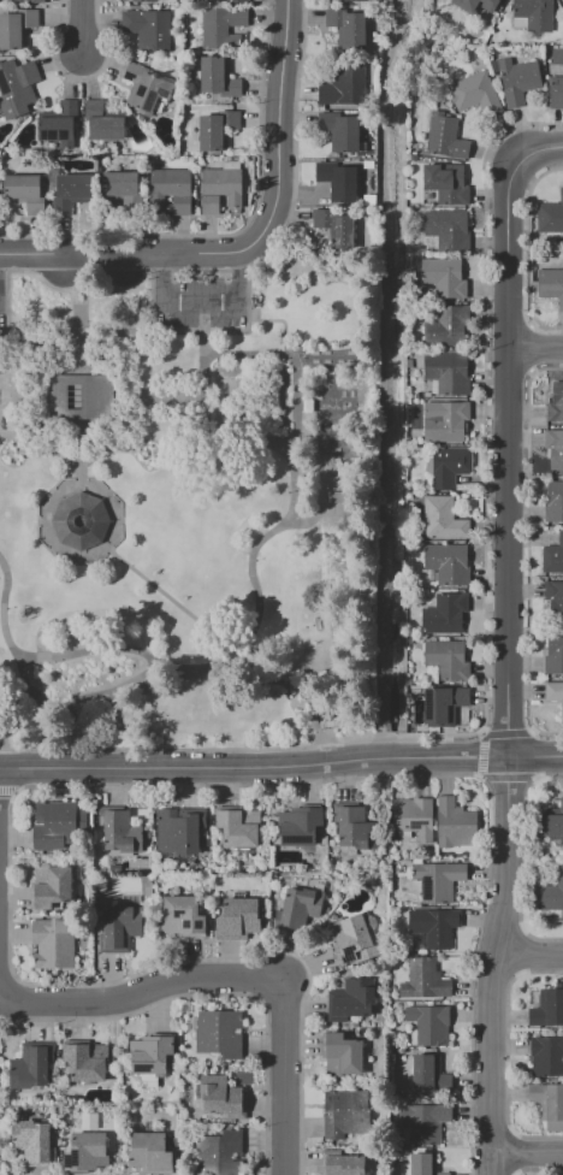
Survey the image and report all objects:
building: (4, 0)
building: (214, 0)
building: (356, 0)
building: (23, 1)
building: (144, 1)
building: (562, 5)
building: (476, 7)
building: (532, 16)
building: (346, 26)
building: (16, 28)
building: (147, 28)
building: (221, 28)
road: (82, 29)
building: (218, 77)
building: (520, 81)
building: (344, 85)
building: (18, 87)
building: (147, 88)
building: (556, 91)
building: (475, 93)
road: (281, 104)
building: (102, 123)
building: (60, 125)
building: (215, 129)
building: (340, 131)
building: (444, 137)
road: (543, 157)
building: (338, 181)
building: (446, 183)
building: (120, 184)
building: (220, 187)
building: (171, 189)
building: (24, 191)
building: (71, 191)
building: (550, 215)
building: (334, 226)
building: (448, 229)
road: (211, 254)
road: (34, 256)
building: (444, 277)
road: (102, 278)
building: (551, 284)
parking lot: (1, 302)
parking lot: (200, 302)
road: (200, 303)
building: (446, 326)
road: (83, 329)
road: (538, 353)
road: (212, 358)
road: (207, 368)
building: (448, 373)
building: (79, 396)
road: (58, 398)
road: (291, 398)
road: (171, 400)
building: (556, 403)
road: (136, 412)
building: (446, 423)
road: (64, 433)
road: (273, 444)
building: (555, 448)
road: (510, 457)
building: (450, 466)
road: (52, 494)
building: (555, 501)
park: (185, 510)
building: (443, 519)
building: (79, 520)
building: (553, 556)
building: (449, 562)
building: (555, 598)
building: (445, 613)
road: (231, 645)
road: (120, 649)
building: (555, 653)
building: (448, 659)
building: (555, 693)
building: (443, 704)
road: (13, 710)
road: (281, 767)
building: (414, 816)
building: (552, 821)
building: (454, 823)
building: (54, 826)
building: (300, 826)
building: (358, 826)
building: (238, 827)
building: (177, 831)
building: (122, 832)
building: (438, 880)
building: (51, 888)
building: (551, 893)
building: (301, 911)
building: (182, 916)
building: (237, 919)
building: (433, 928)
building: (118, 929)
building: (351, 935)
building: (53, 943)
road: (528, 953)
road: (493, 964)
road: (235, 975)
building: (423, 979)
building: (349, 1000)
building: (547, 1008)
building: (429, 1023)
building: (219, 1033)
building: (150, 1055)
building: (340, 1055)
building: (547, 1056)
building: (87, 1062)
building: (31, 1065)
building: (425, 1073)
building: (221, 1097)
building: (547, 1100)
building: (346, 1115)
building: (426, 1122)
building: (34, 1142)
building: (87, 1151)
building: (220, 1152)
building: (150, 1153)
road: (527, 1155)
building: (342, 1163)
building: (423, 1164)

